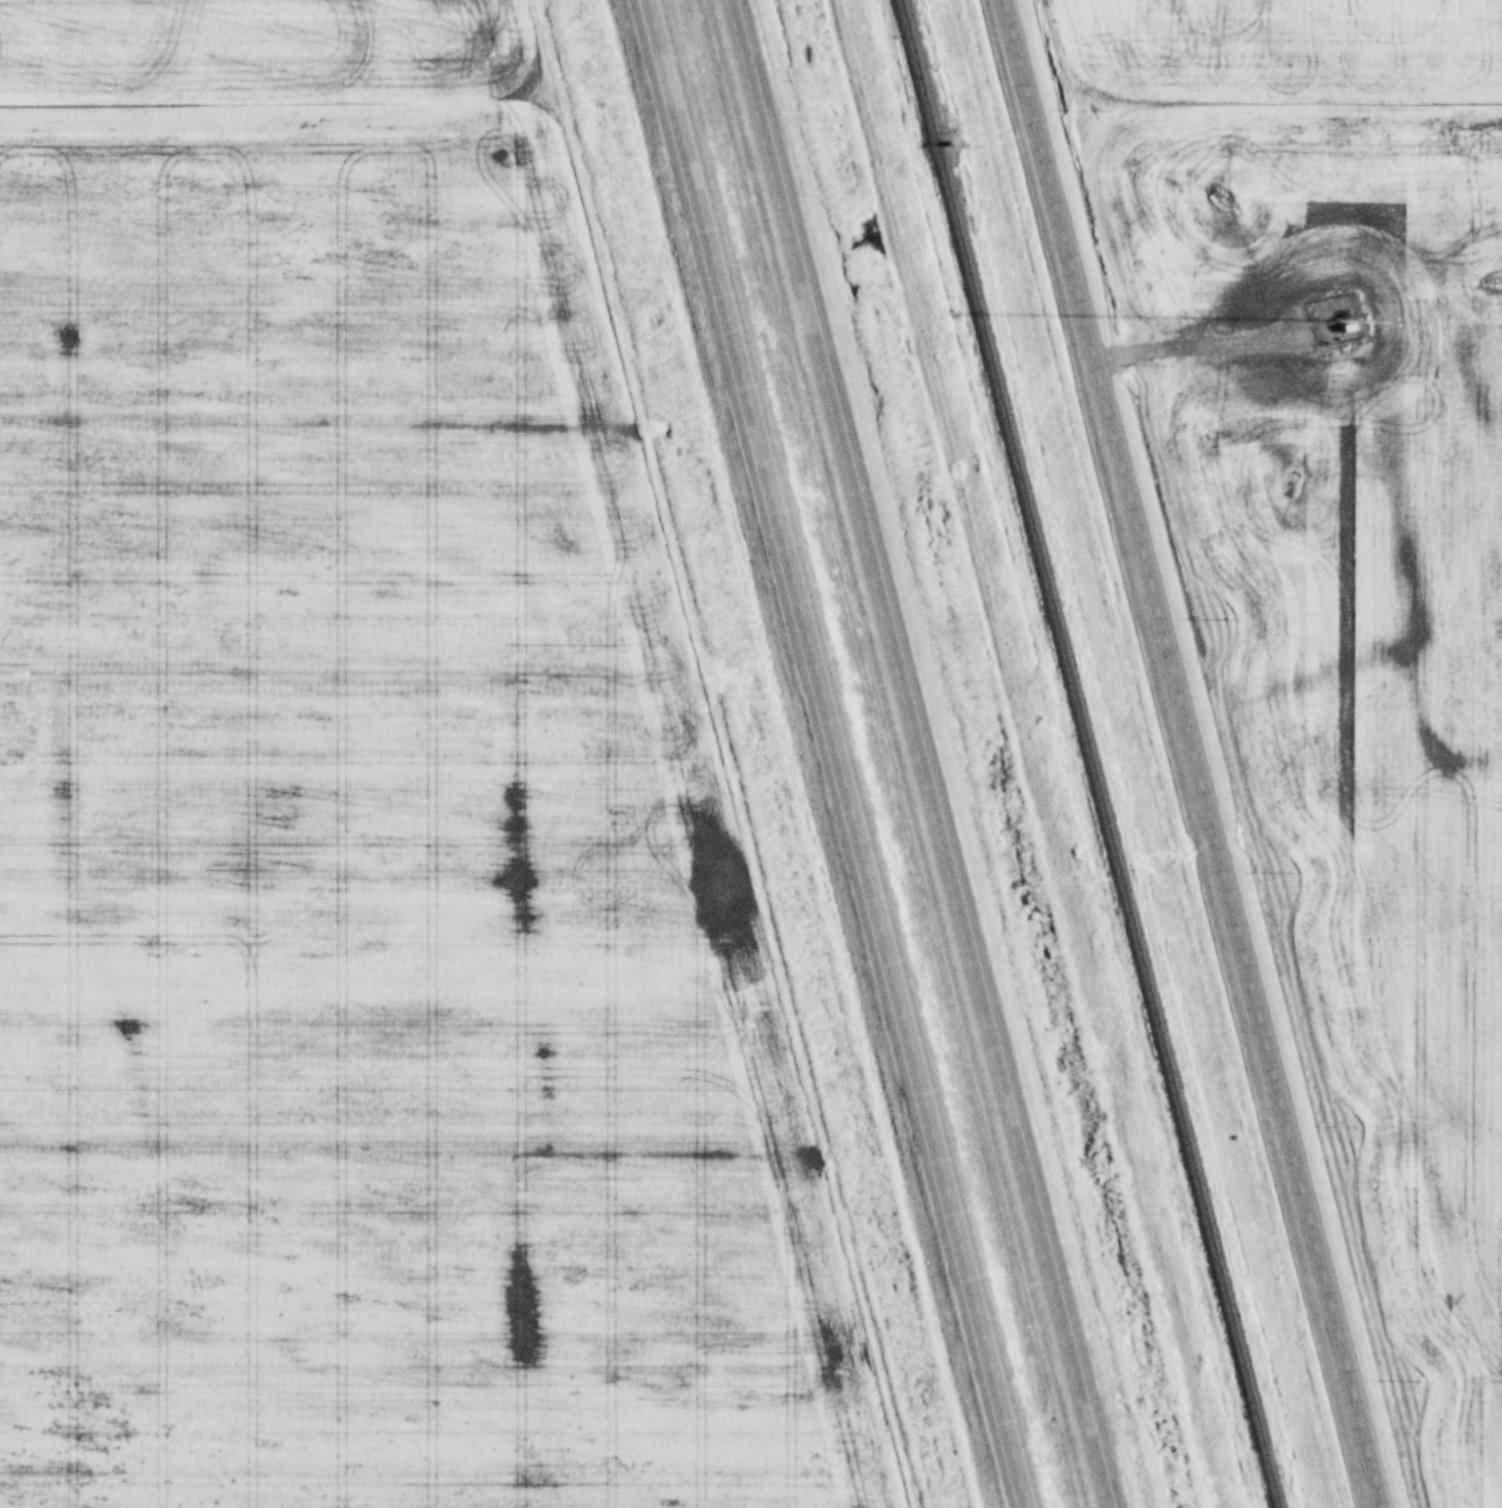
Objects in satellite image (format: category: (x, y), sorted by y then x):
building: (1356, 324)
road: (1204, 341)
railway: (1082, 753)
road: (840, 754)
road: (918, 754)
road: (1195, 754)

